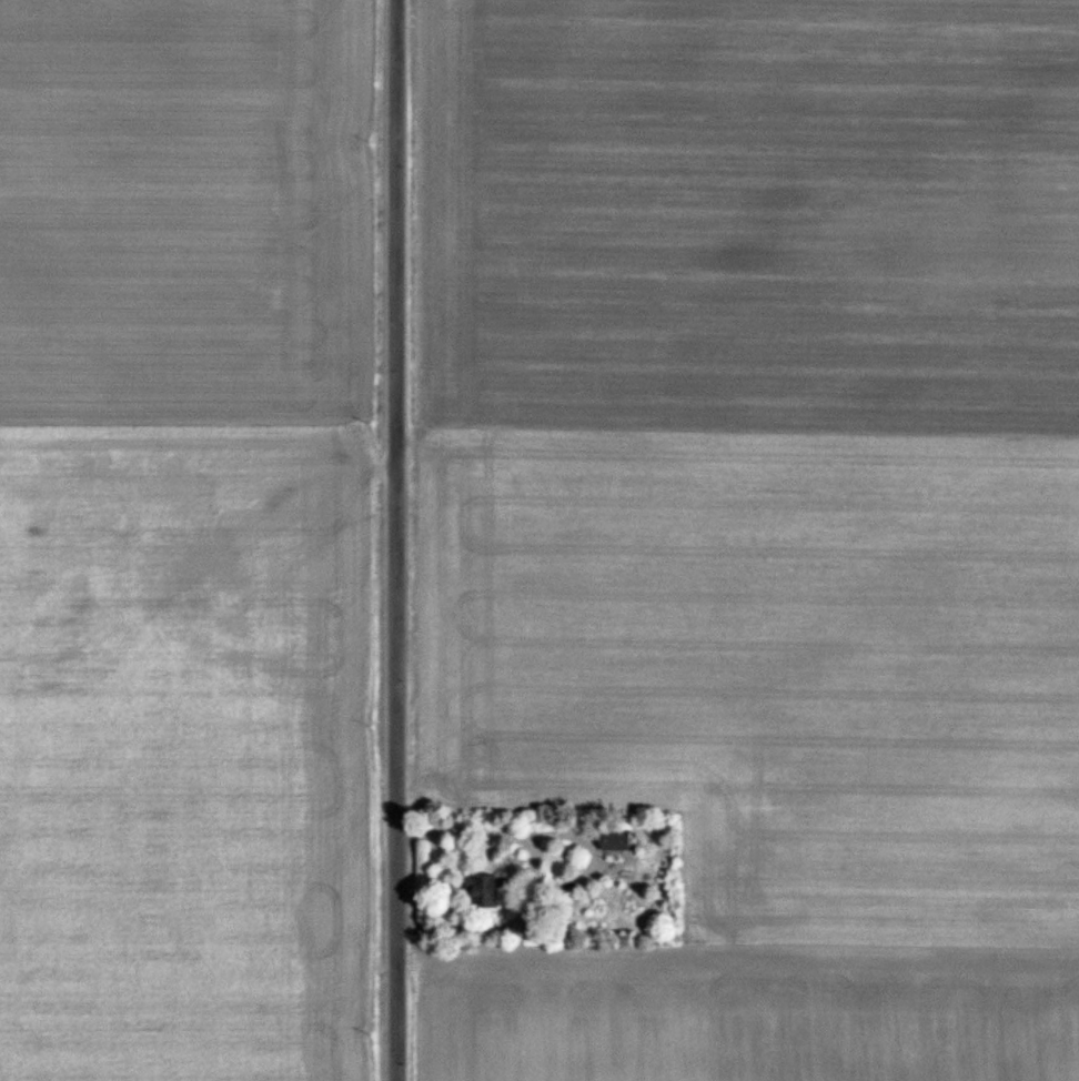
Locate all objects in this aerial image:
road: (394, 539)
building: (616, 842)
building: (483, 892)

